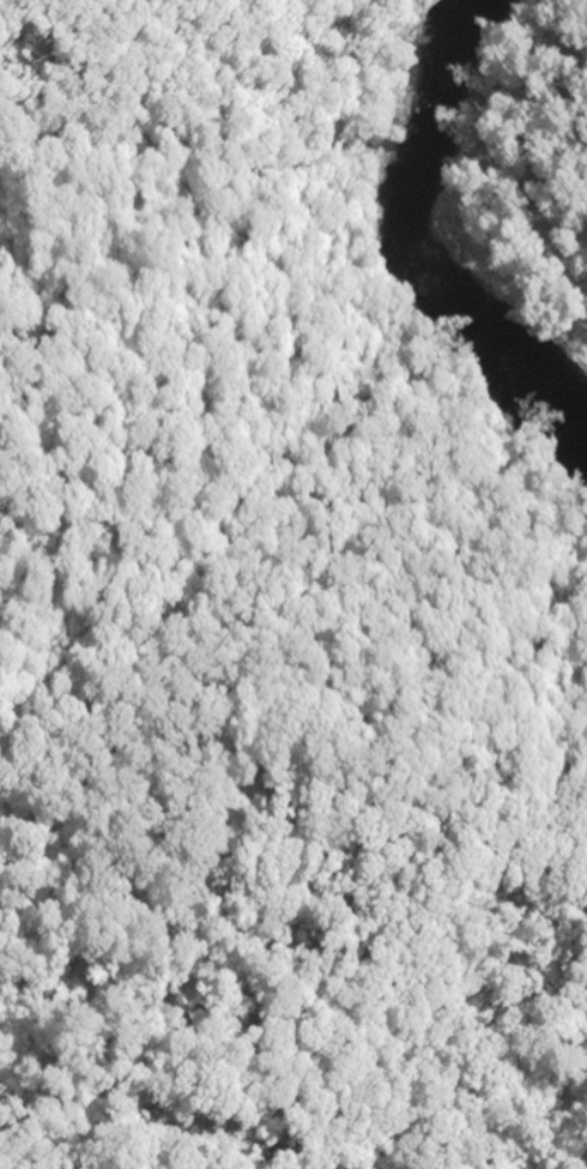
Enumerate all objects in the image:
river: (459, 224)

